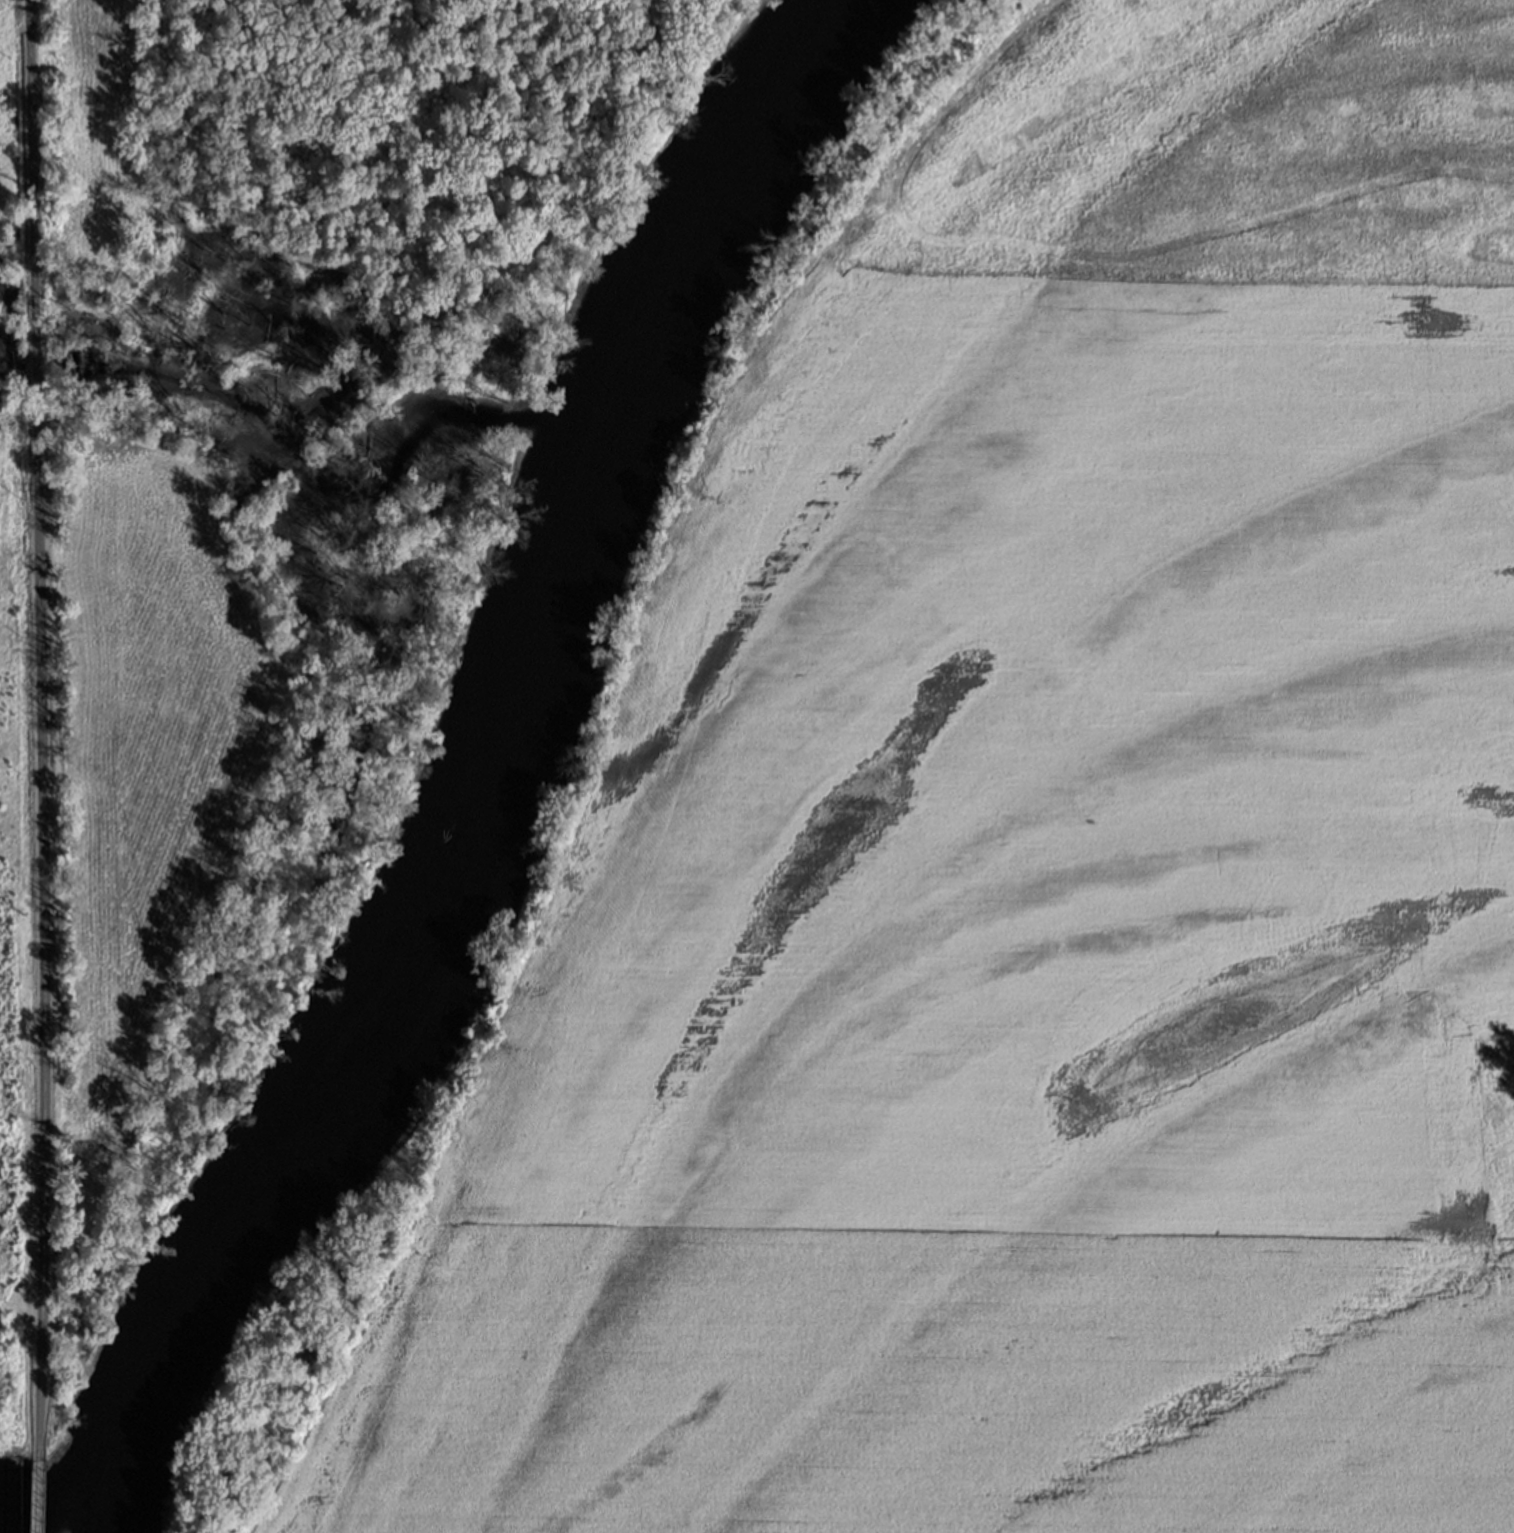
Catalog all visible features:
road: (42, 720)
river: (490, 766)
road: (37, 1487)
river: (76, 1515)

